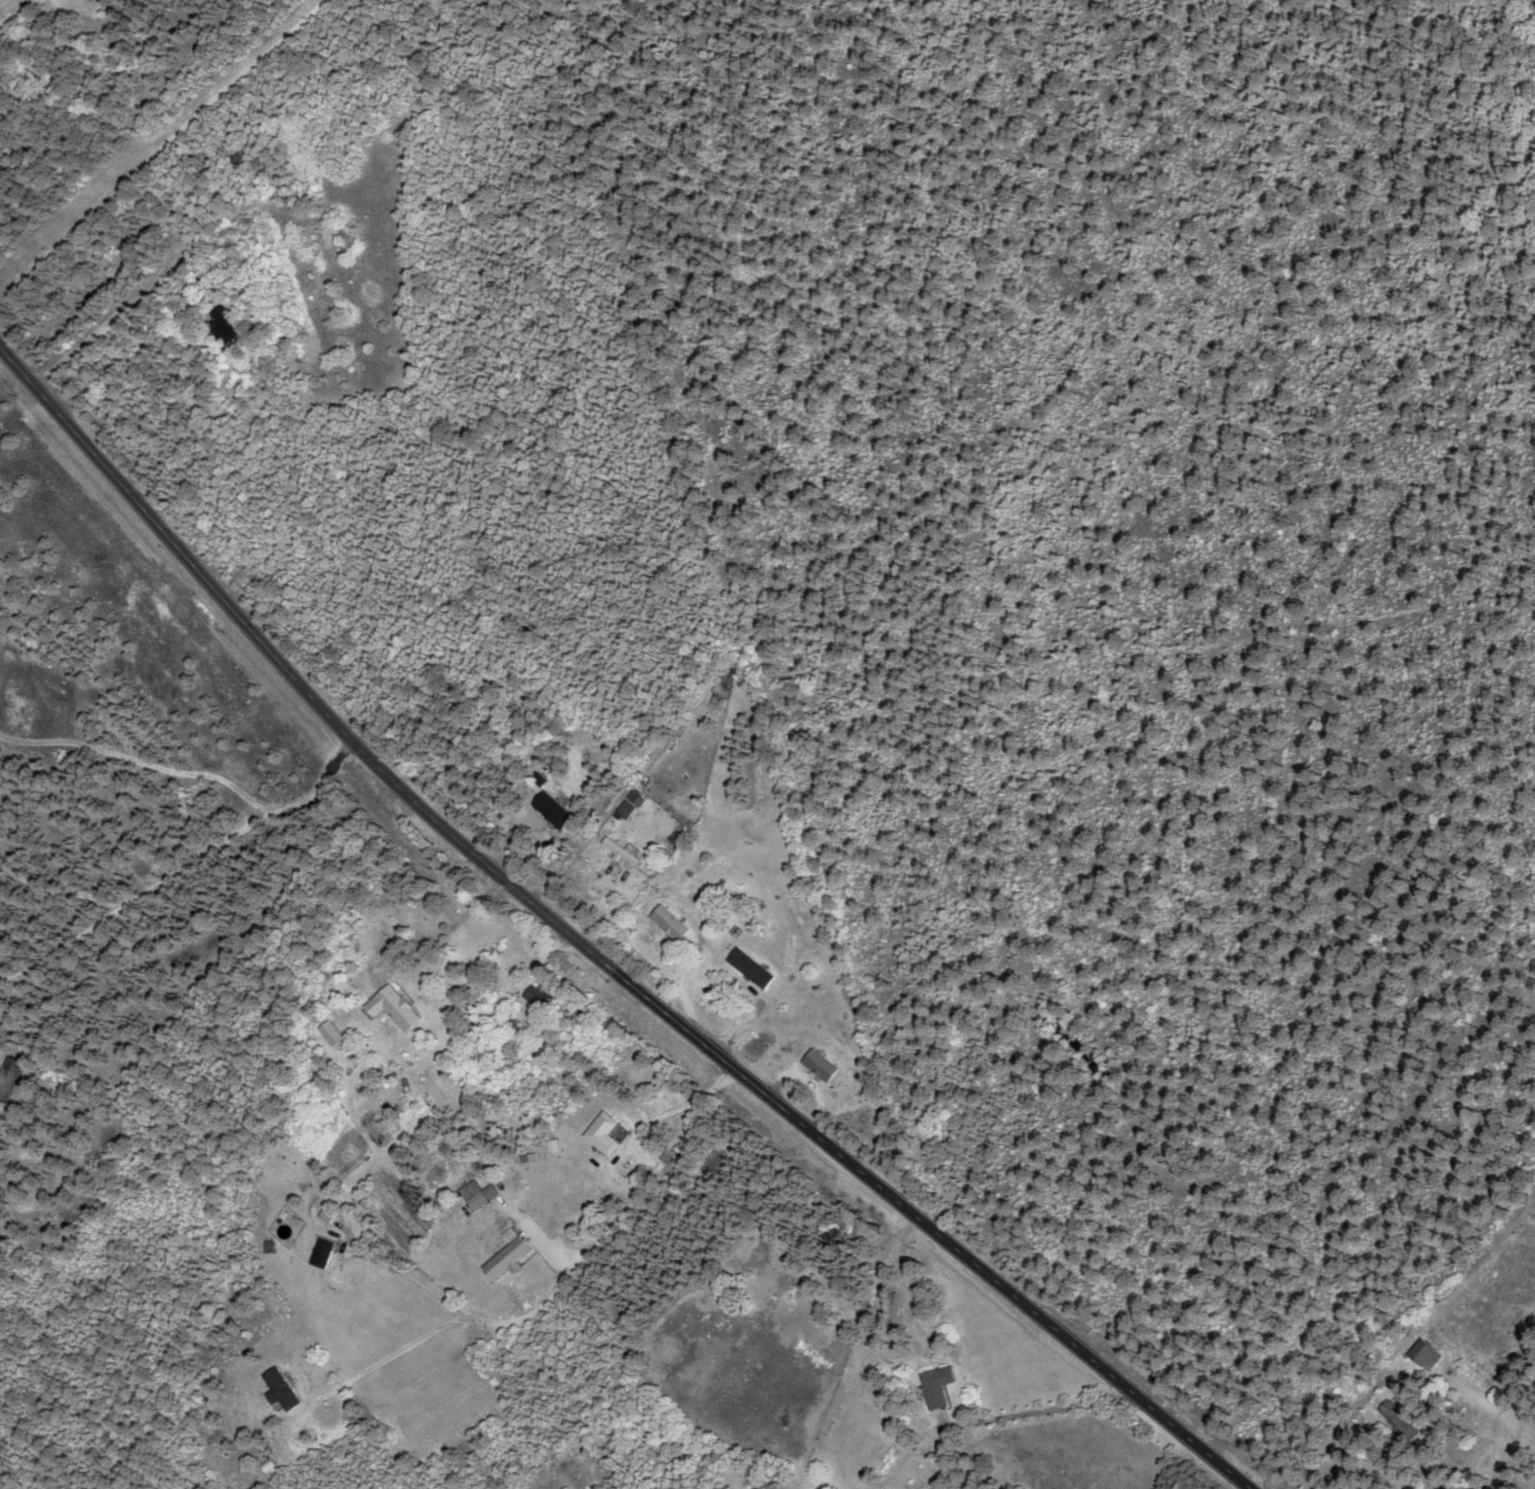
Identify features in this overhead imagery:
building: (226, 323)
road: (335, 749)
building: (628, 807)
building: (558, 808)
road: (423, 812)
road: (194, 844)
building: (626, 850)
building: (672, 921)
building: (753, 966)
building: (539, 998)
building: (397, 1006)
building: (333, 1031)
building: (823, 1063)
building: (606, 1132)
building: (556, 1146)
building: (480, 1192)
building: (330, 1213)
building: (511, 1233)
road: (602, 1235)
building: (326, 1251)
building: (510, 1257)
road: (1084, 1350)
building: (1431, 1352)
building: (941, 1384)
building: (284, 1389)
building: (1403, 1420)

